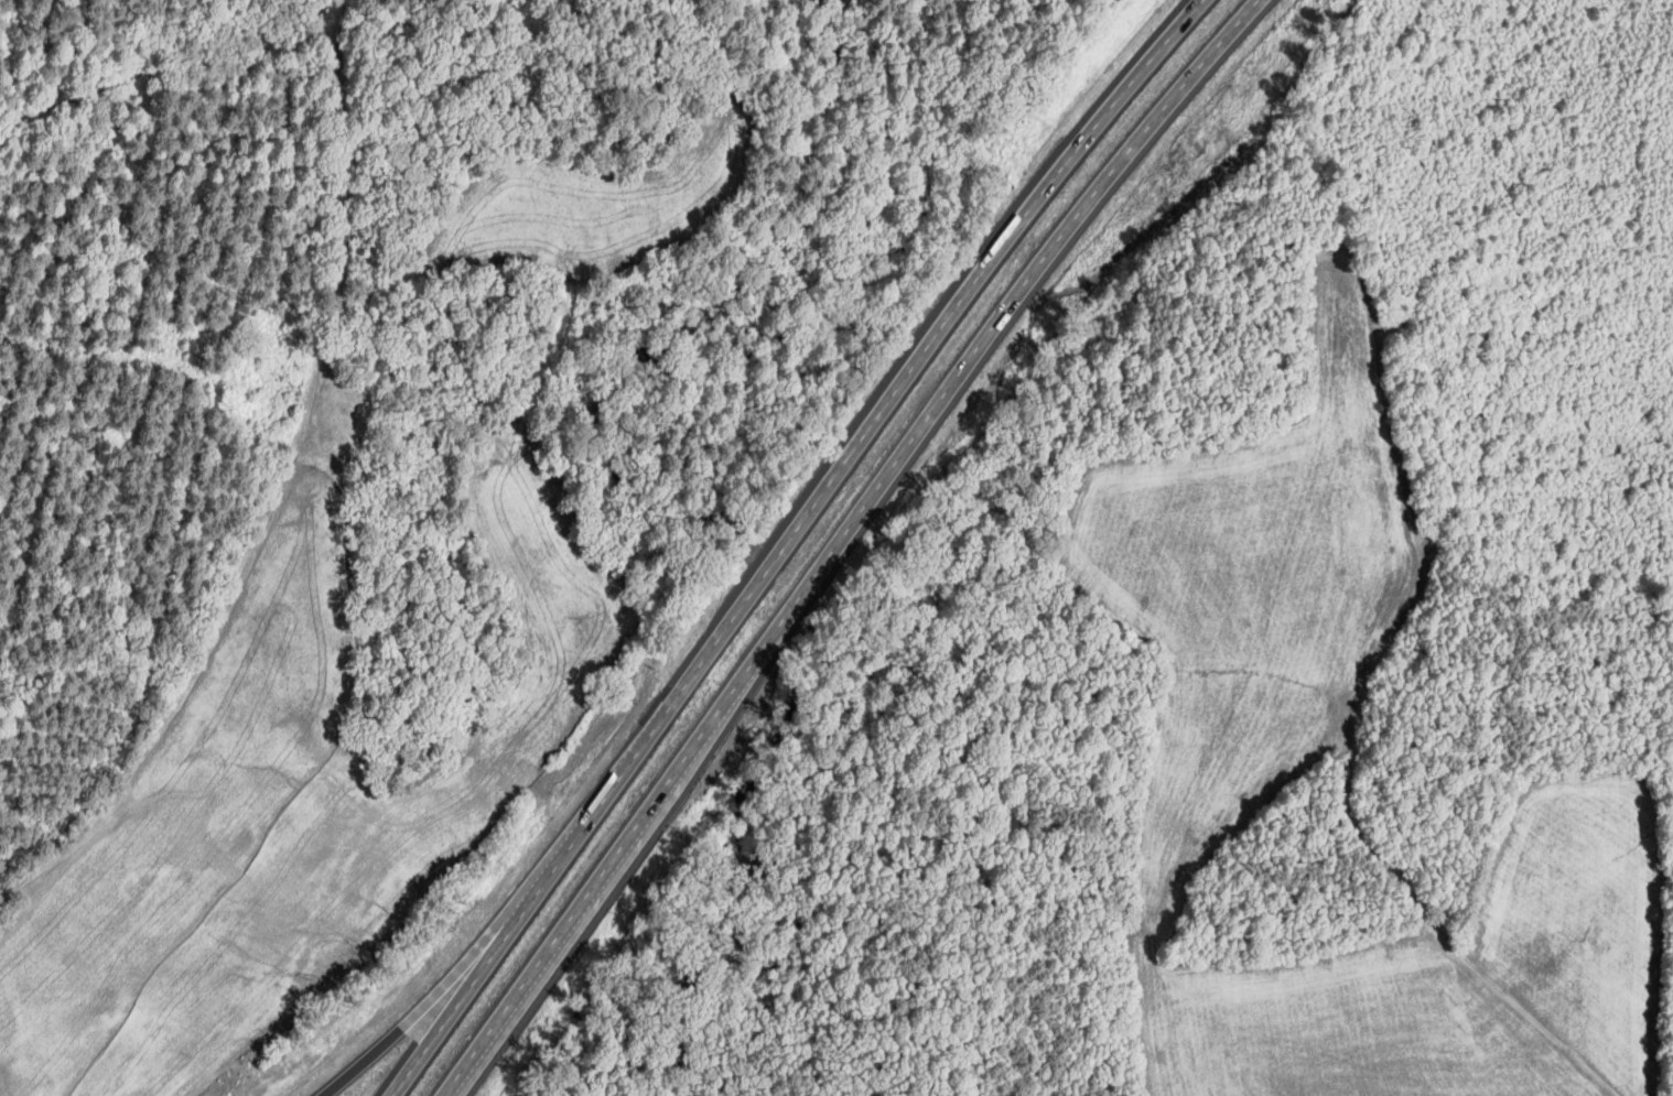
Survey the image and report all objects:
road: (782, 538)
road: (851, 539)
road: (428, 999)

